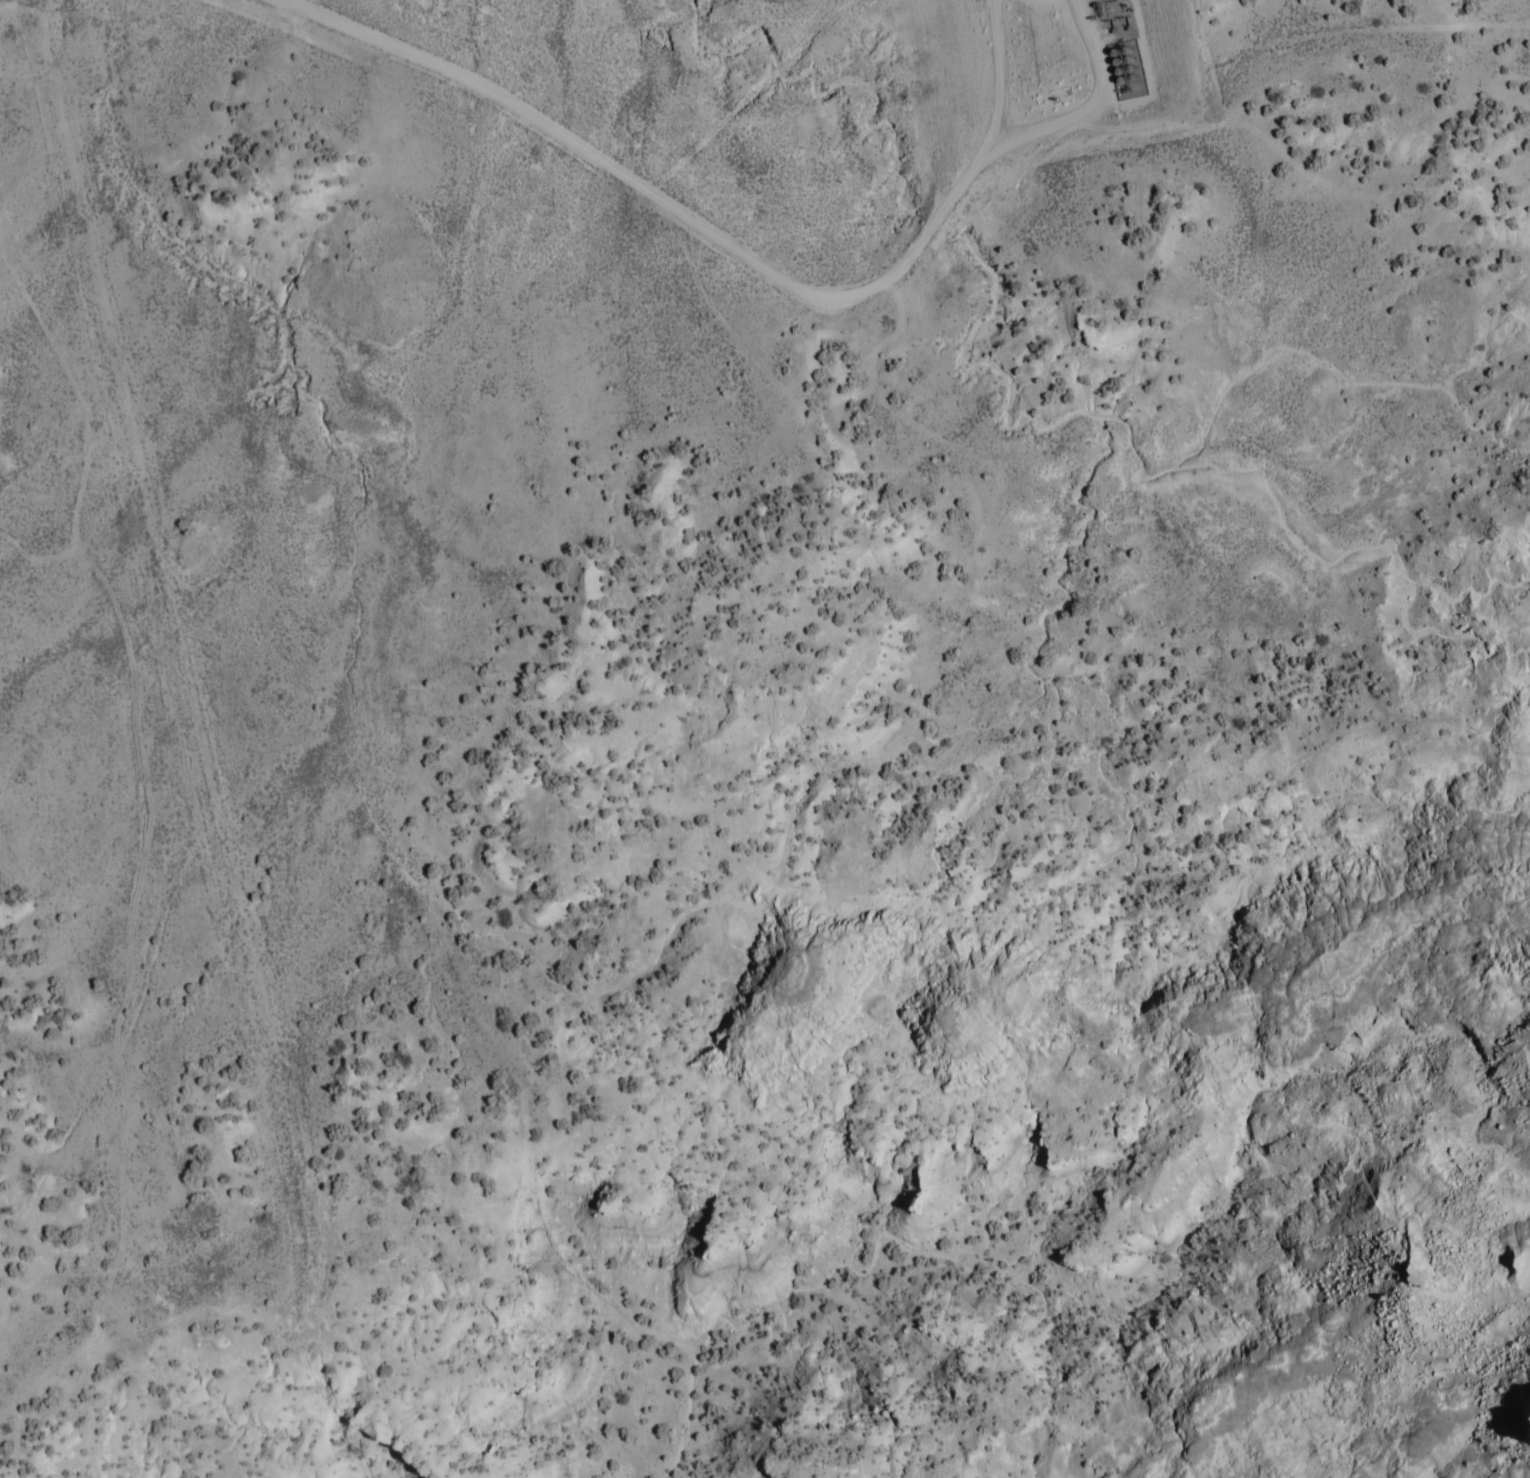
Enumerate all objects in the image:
road: (593, 105)

